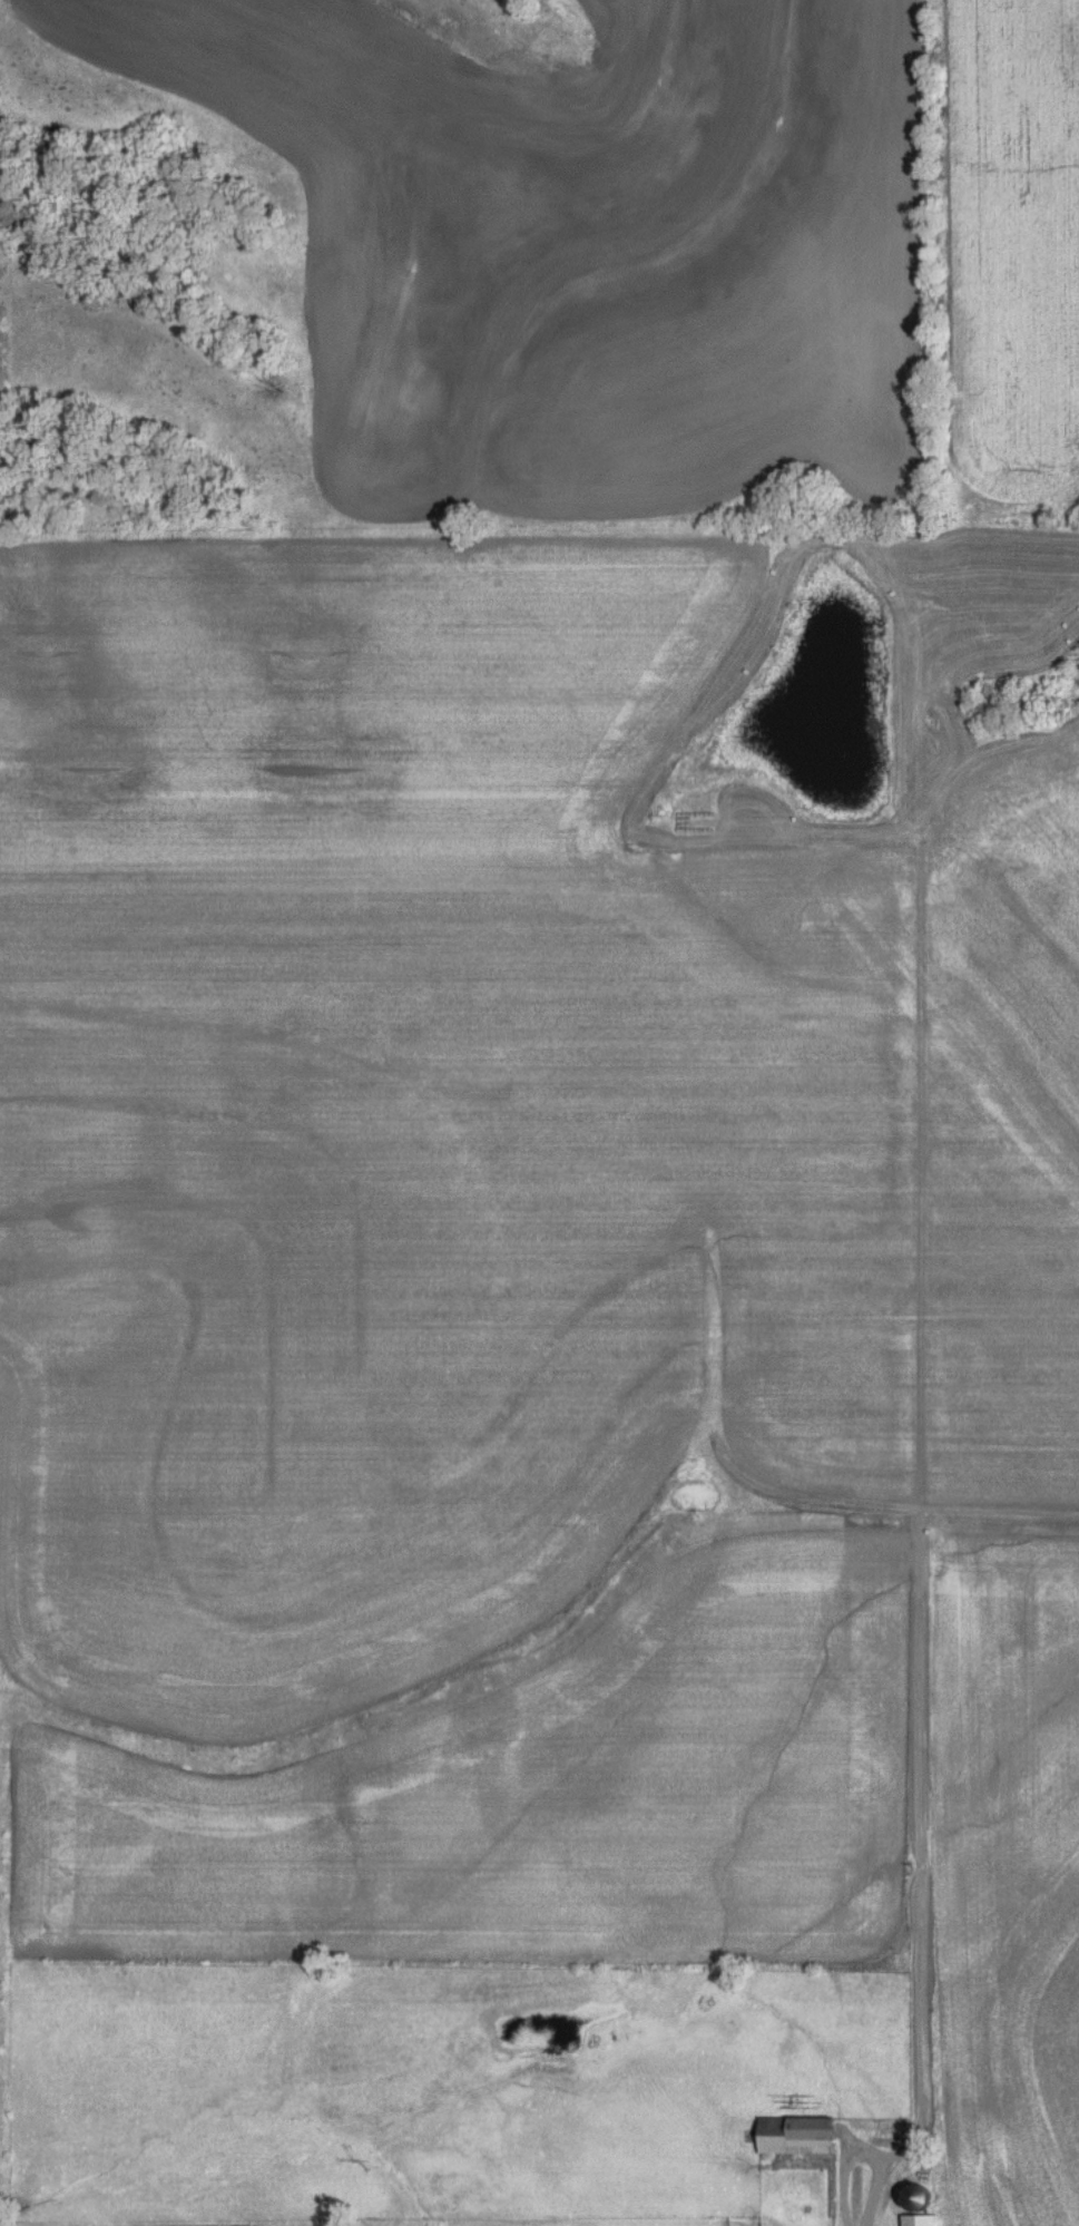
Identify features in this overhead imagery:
building: (798, 2136)
building: (920, 2219)

